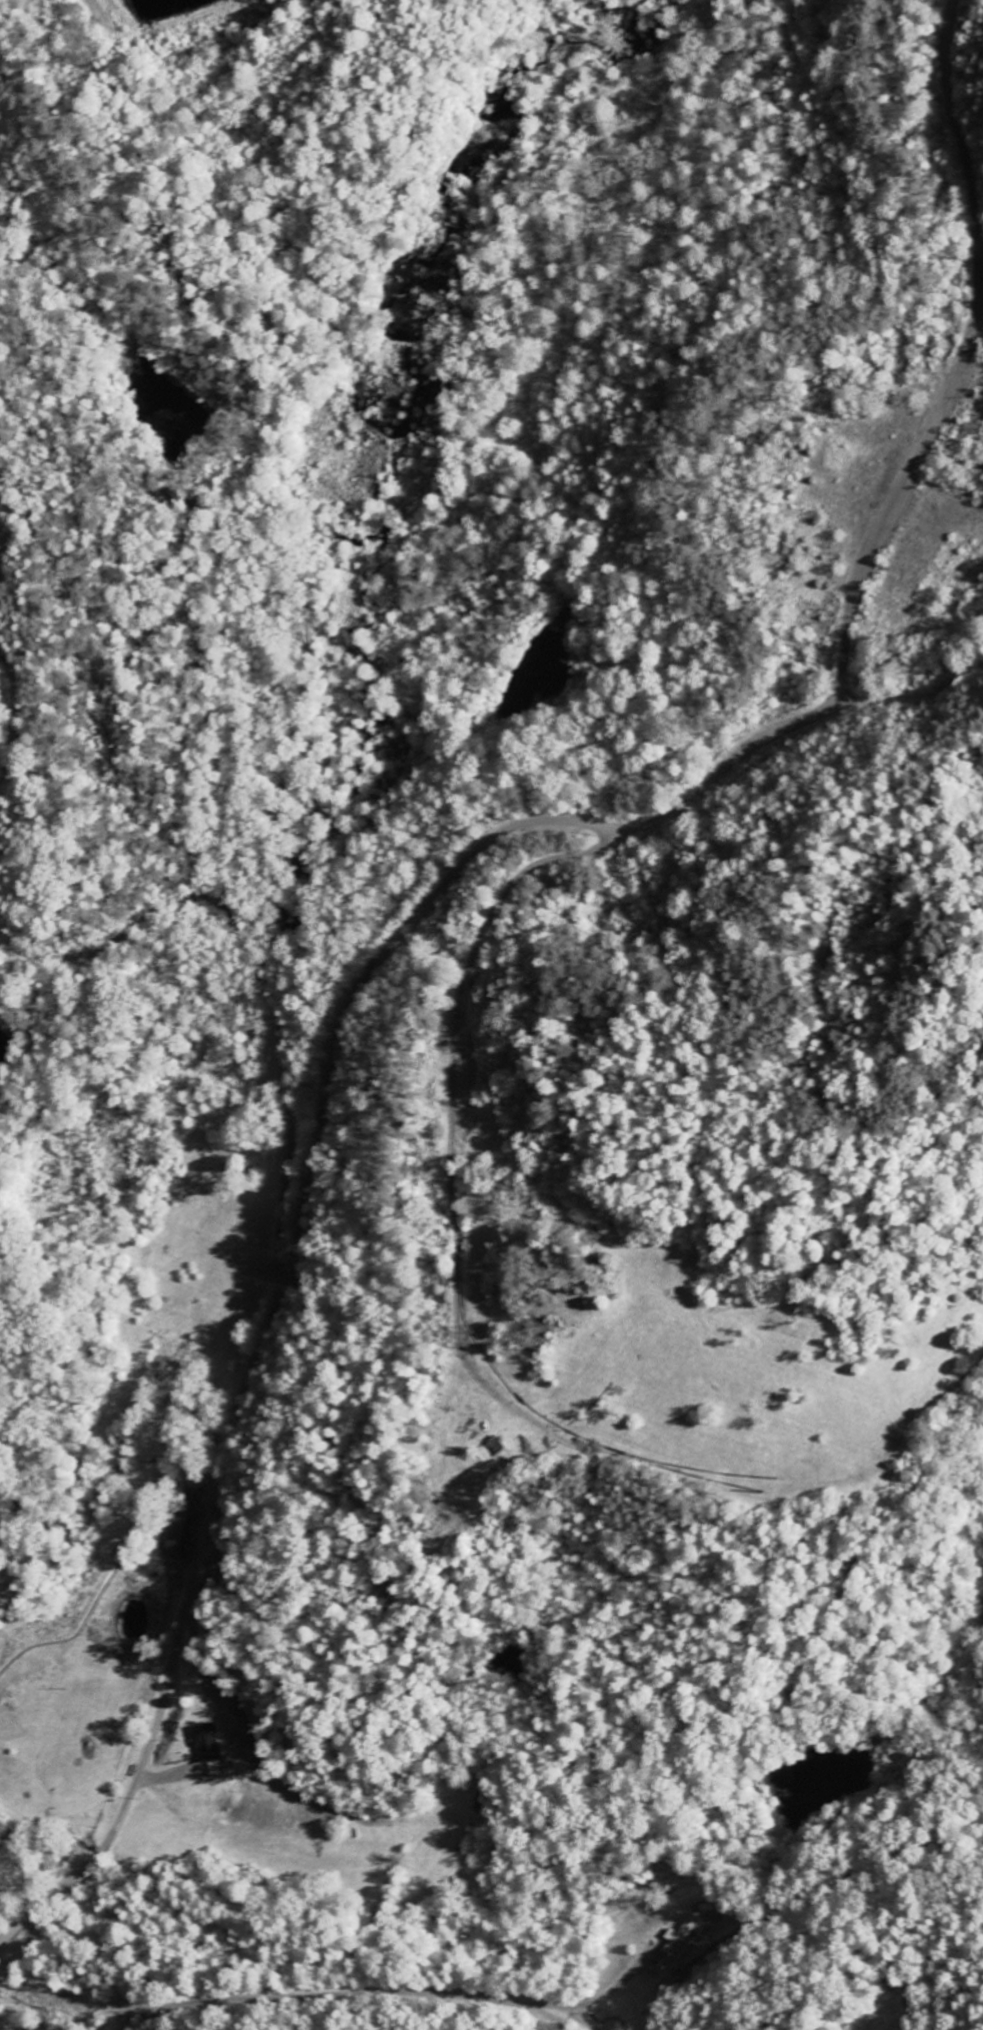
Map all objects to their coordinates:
road: (621, 808)
road: (306, 1207)
power tower: (525, 1338)
building: (214, 1742)
road: (369, 1993)

